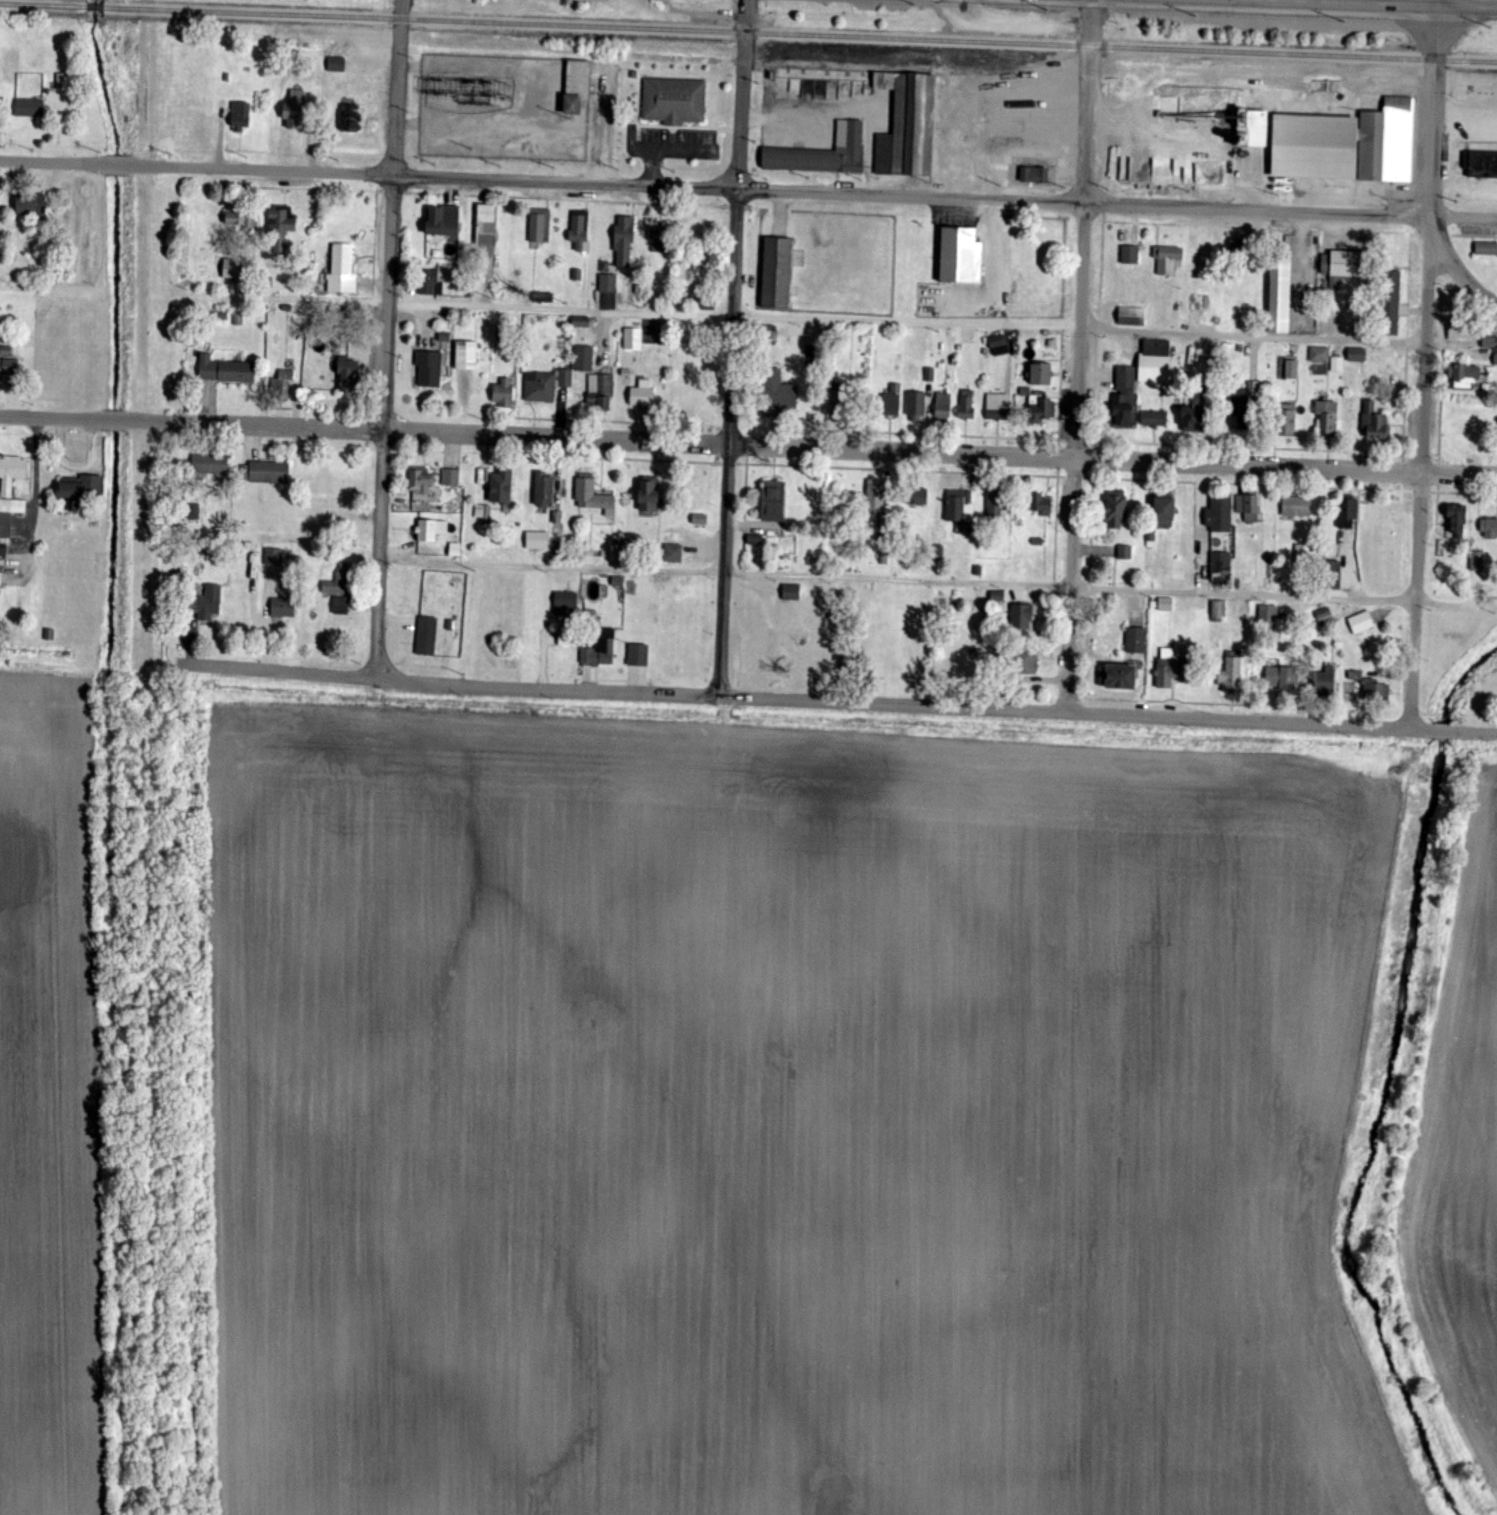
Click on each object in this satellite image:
railway: (43, 4)
road: (1429, 4)
road: (1359, 5)
railway: (95, 6)
railway: (800, 35)
building: (336, 64)
railway: (911, 67)
building: (576, 86)
building: (824, 88)
building: (673, 100)
power substation: (505, 107)
building: (29, 108)
building: (295, 111)
road: (708, 113)
building: (1176, 115)
building: (240, 116)
building: (348, 117)
building: (1236, 117)
building: (907, 126)
road: (685, 128)
parking lot: (679, 143)
building: (1334, 143)
building: (824, 152)
road: (53, 161)
building: (1482, 164)
road: (119, 165)
road: (260, 169)
building: (1155, 170)
building: (1034, 175)
road: (289, 188)
road: (905, 194)
road: (542, 198)
building: (30, 205)
road: (716, 206)
road: (779, 213)
parking lot: (953, 215)
road: (1460, 218)
building: (241, 220)
building: (442, 221)
road: (1104, 222)
building: (486, 225)
building: (537, 225)
building: (280, 228)
road: (1260, 228)
building: (579, 233)
road: (375, 239)
building: (657, 239)
building: (624, 240)
building: (1486, 248)
building: (959, 255)
building: (1129, 255)
building: (1166, 259)
road: (996, 262)
road: (1455, 264)
building: (232, 268)
building: (342, 270)
building: (776, 273)
building: (442, 274)
building: (429, 283)
building: (607, 283)
building: (1344, 289)
building: (1279, 291)
building: (1390, 302)
building: (1178, 304)
building: (1131, 316)
road: (904, 319)
building: (1464, 330)
road: (383, 338)
building: (633, 339)
building: (1489, 342)
building: (1004, 344)
road: (730, 347)
building: (466, 355)
road: (1077, 355)
building: (1319, 355)
building: (1356, 355)
building: (1495, 358)
building: (584, 359)
building: (1154, 361)
road: (1424, 367)
building: (9, 368)
building: (429, 369)
building: (225, 370)
building: (1292, 370)
building: (1041, 374)
building: (1463, 375)
building: (347, 376)
building: (565, 378)
building: (281, 385)
building: (540, 387)
road: (1060, 389)
building: (600, 392)
building: (503, 393)
building: (642, 394)
building: (777, 394)
building: (1124, 397)
road: (1441, 402)
building: (966, 404)
building: (890, 405)
building: (916, 407)
building: (997, 407)
building: (942, 408)
building: (1042, 409)
road: (51, 413)
road: (115, 415)
building: (1193, 416)
building: (1327, 417)
building: (1155, 419)
road: (586, 420)
building: (1286, 420)
road: (254, 422)
building: (1375, 422)
road: (942, 435)
road: (1076, 440)
road: (1092, 440)
road: (1095, 442)
road: (366, 443)
road: (1059, 443)
road: (253, 444)
road: (939, 448)
road: (1302, 450)
road: (1407, 455)
road: (1421, 455)
road: (1439, 456)
road: (1058, 457)
road: (1094, 457)
road: (1403, 458)
road: (663, 460)
road: (746, 464)
building: (210, 465)
road: (875, 469)
road: (1402, 472)
building: (265, 473)
road: (1439, 473)
road: (1093, 475)
road: (1058, 476)
building: (450, 478)
road: (1074, 478)
road: (1088, 479)
building: (420, 483)
road: (1251, 485)
building: (500, 487)
building: (543, 490)
road: (1406, 491)
building: (10, 492)
road: (1421, 492)
road: (1438, 492)
road: (1467, 494)
building: (875, 495)
building: (593, 496)
building: (648, 496)
building: (916, 496)
building: (773, 501)
building: (994, 504)
building: (1042, 505)
building: (959, 506)
building: (1248, 507)
building: (1296, 507)
building: (1115, 510)
building: (1164, 511)
road: (1437, 511)
building: (195, 512)
building: (1347, 513)
building: (1220, 514)
building: (1456, 522)
building: (1489, 529)
building: (430, 530)
building: (754, 540)
building: (536, 541)
building: (3, 547)
building: (1124, 552)
building: (1304, 553)
building: (673, 554)
building: (273, 557)
road: (1055, 566)
building: (1220, 566)
building: (1476, 566)
road: (899, 576)
building: (1332, 576)
building: (337, 585)
building: (790, 592)
building: (565, 599)
building: (205, 603)
building: (282, 606)
building: (341, 606)
building: (1218, 611)
road: (1088, 613)
building: (1267, 616)
building: (1022, 617)
building: (1361, 623)
building: (564, 635)
building: (426, 636)
building: (1135, 641)
building: (600, 649)
building: (1025, 663)
building: (1170, 668)
road: (279, 670)
building: (1231, 673)
building: (1120, 677)
building: (1281, 678)
building: (1325, 681)
building: (1375, 690)
road: (1189, 702)
road: (905, 704)
road: (1448, 729)
road: (1480, 730)
crop: (1461, 1160)

